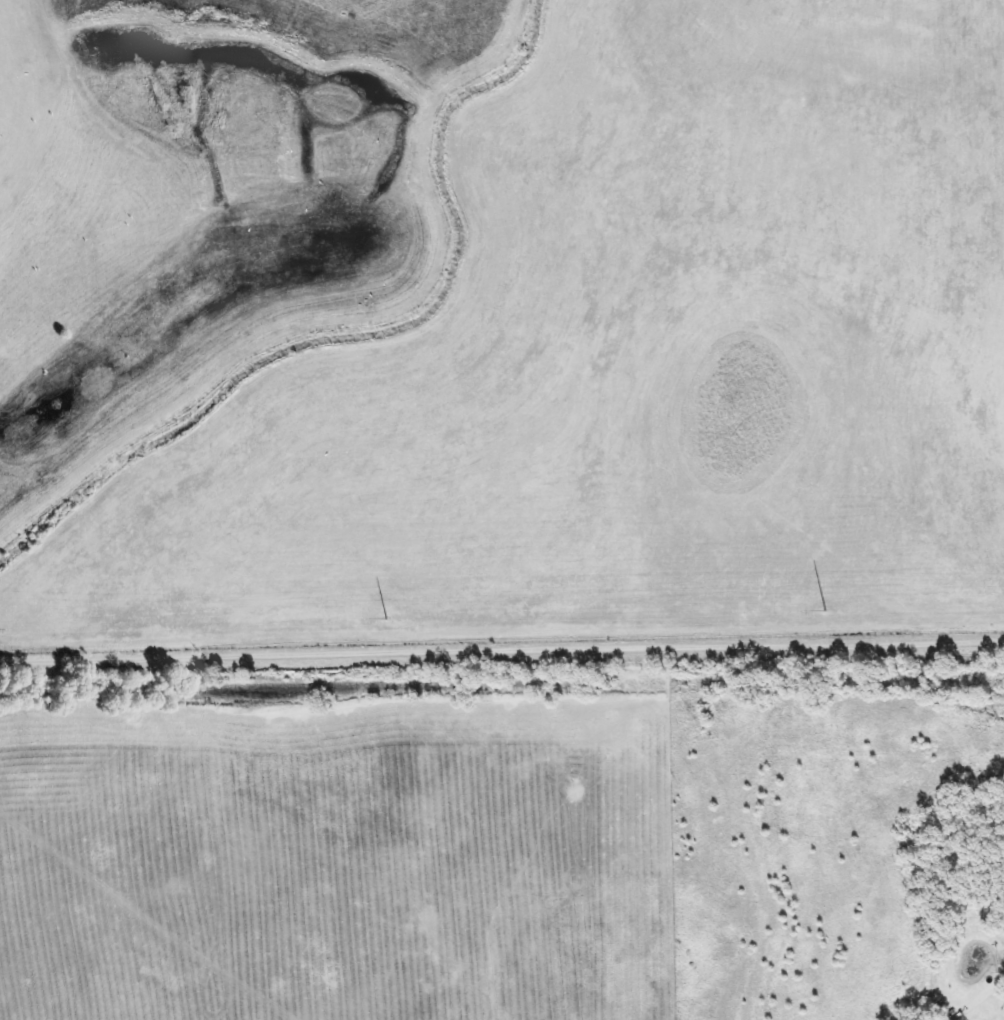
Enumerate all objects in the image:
road: (501, 651)
road: (980, 998)

